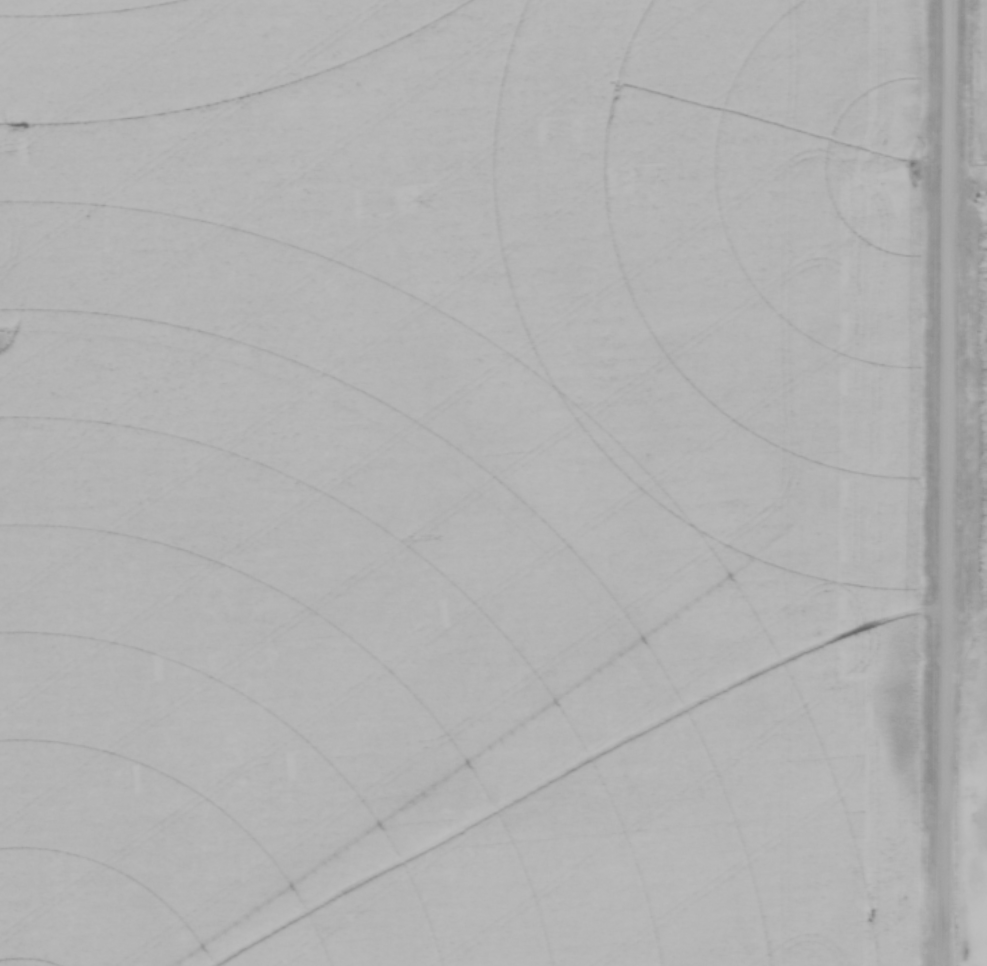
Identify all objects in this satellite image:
road: (943, 482)

